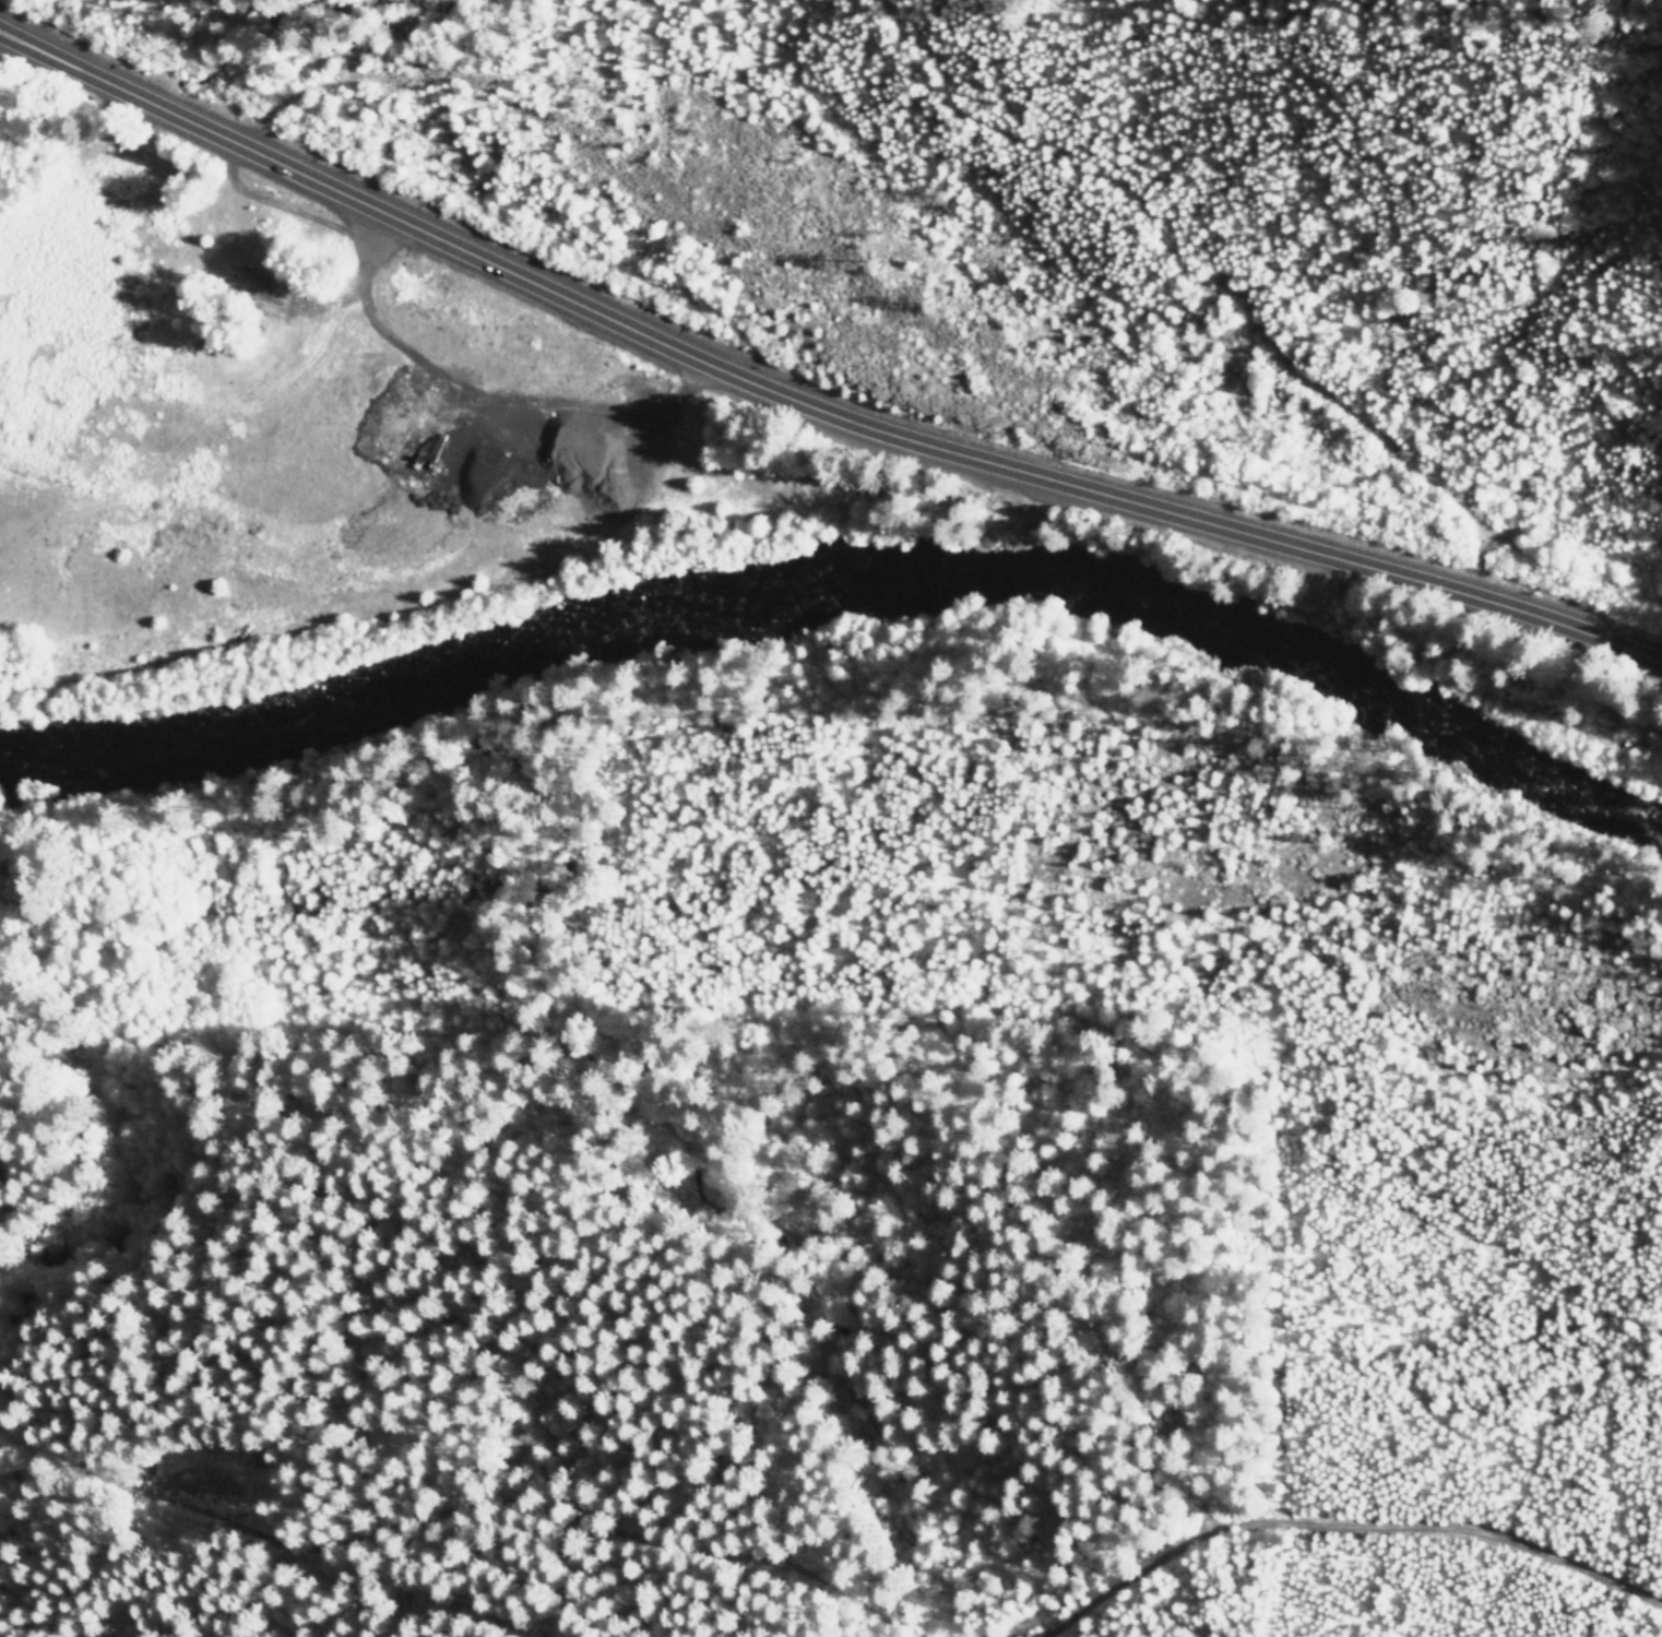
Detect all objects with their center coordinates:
road: (527, 400)
road: (809, 410)
road: (217, 412)
river: (847, 596)

